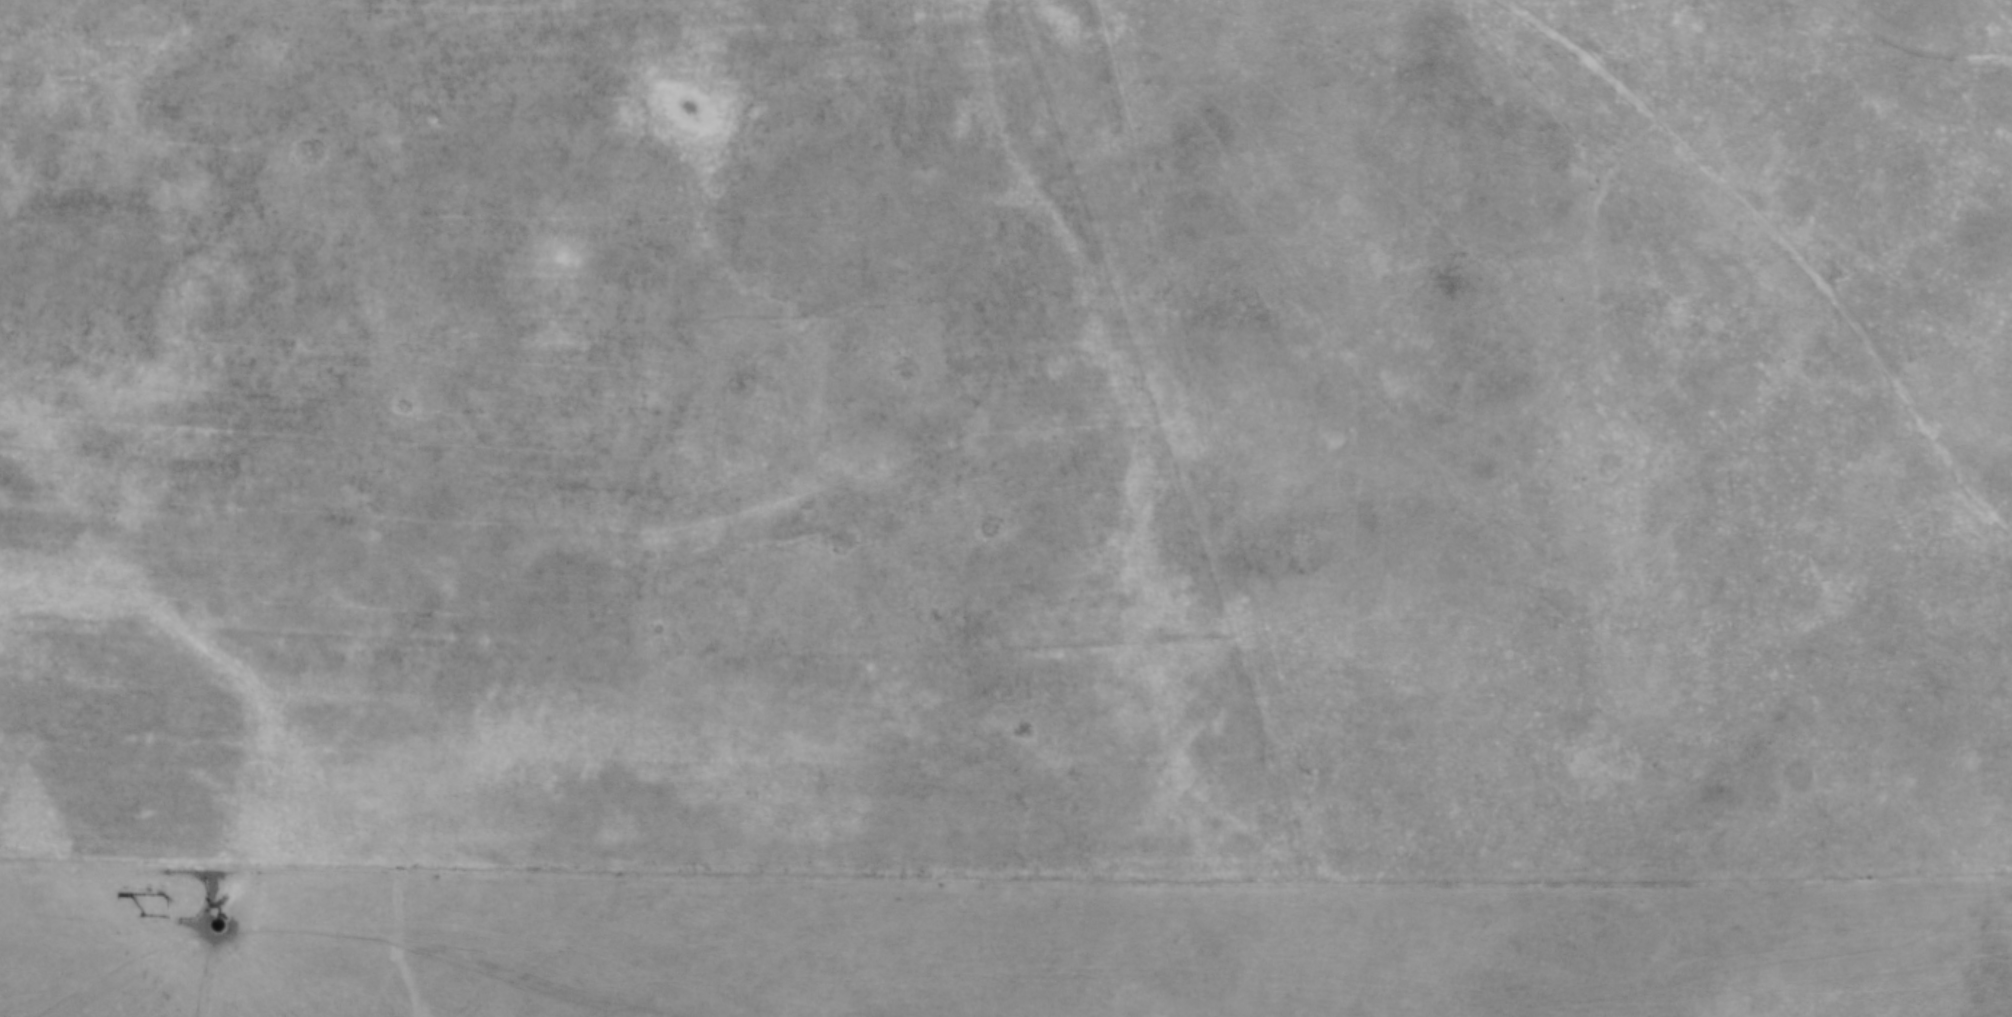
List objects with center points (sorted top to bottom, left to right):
road: (1938, 44)

